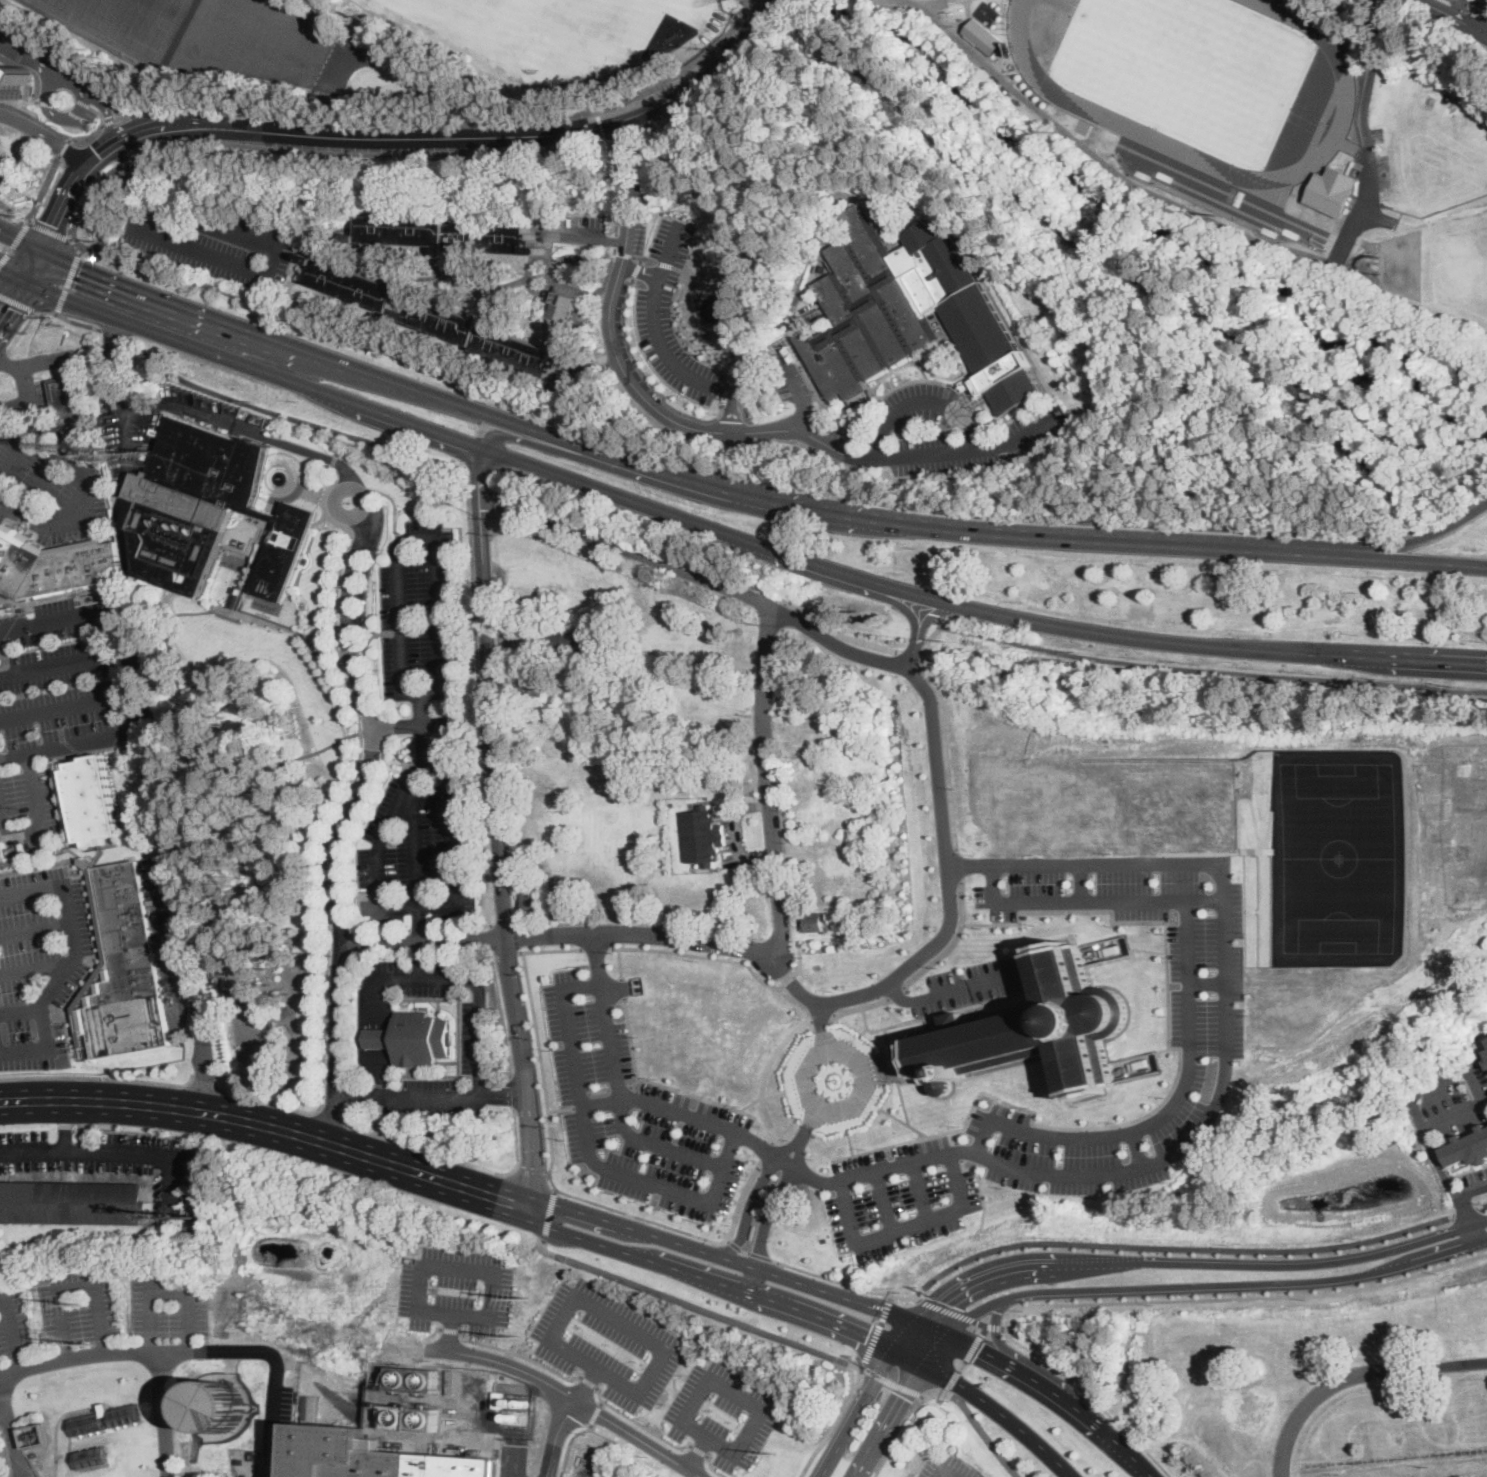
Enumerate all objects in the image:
building: (1240, 0)
road: (754, 3)
road: (935, 3)
road: (1063, 4)
road: (1435, 4)
road: (1456, 5)
road: (839, 13)
road: (1477, 13)
road: (1452, 17)
road: (1481, 18)
track: (1307, 21)
road: (1482, 28)
road: (949, 31)
park: (206, 34)
building: (983, 36)
park: (563, 37)
parking lot: (9, 38)
road: (836, 47)
park: (1189, 70)
road: (48, 71)
road: (413, 75)
building: (618, 78)
parking lot: (92, 80)
road: (725, 82)
building: (13, 83)
road: (766, 89)
road: (1367, 94)
road: (27, 100)
road: (54, 100)
road: (48, 103)
road: (93, 109)
road: (131, 113)
road: (78, 116)
road: (57, 117)
road: (121, 117)
road: (462, 117)
road: (36, 118)
parking lot: (88, 118)
road: (108, 124)
road: (601, 124)
track: (1121, 124)
road: (205, 128)
track: (1338, 129)
road: (535, 135)
road: (131, 136)
road: (45, 137)
road: (88, 137)
road: (617, 137)
road: (65, 148)
road: (366, 153)
road: (126, 159)
road: (139, 178)
road: (617, 186)
road: (43, 188)
building: (1331, 190)
road: (87, 195)
road: (65, 197)
building: (535, 219)
road: (1049, 220)
traffic signals: (53, 225)
road: (207, 226)
parking lot: (577, 228)
road: (50, 231)
building: (445, 233)
road: (826, 236)
road: (585, 237)
road: (615, 241)
road: (15, 243)
parking lot: (215, 245)
road: (80, 247)
road: (211, 254)
road: (31, 266)
road: (641, 270)
traffic signals: (79, 274)
road: (11, 276)
road: (67, 282)
road: (1076, 284)
road: (1004, 294)
road: (11, 298)
road: (19, 303)
traffic signals: (7, 304)
building: (564, 304)
building: (917, 311)
parking lot: (671, 314)
building: (435, 316)
road: (70, 319)
building: (809, 320)
road: (794, 326)
road: (656, 329)
road: (23, 331)
road: (113, 334)
road: (33, 336)
building: (793, 352)
road: (4, 358)
road: (52, 359)
road: (7, 363)
road: (770, 363)
road: (111, 365)
road: (253, 367)
road: (76, 370)
road: (82, 385)
parking lot: (792, 385)
road: (77, 386)
road: (1101, 390)
building: (565, 391)
building: (66, 395)
road: (84, 401)
road: (52, 403)
road: (922, 403)
road: (14, 404)
parking lot: (923, 405)
road: (48, 409)
road: (82, 411)
road: (289, 415)
road: (216, 418)
road: (707, 430)
road: (1383, 435)
road: (330, 440)
road: (1189, 440)
parking lot: (836, 442)
parking lot: (977, 446)
road: (1104, 451)
road: (738, 452)
road: (19, 455)
building: (145, 456)
road: (1355, 457)
road: (83, 464)
road: (477, 469)
road: (726, 469)
road: (657, 472)
road: (51, 474)
road: (938, 481)
parking lot: (49, 485)
road: (274, 486)
road: (308, 487)
road: (358, 490)
road: (702, 495)
road: (324, 496)
road: (276, 499)
road: (392, 504)
building: (209, 510)
road: (1283, 516)
road: (1452, 517)
helipad: (293, 539)
road: (1423, 539)
road: (637, 553)
road: (693, 560)
road: (1419, 561)
building: (54, 564)
parking lot: (365, 567)
road: (841, 570)
road: (473, 585)
road: (887, 596)
building: (243, 597)
building: (4, 609)
road: (785, 612)
parking lot: (421, 613)
road: (931, 616)
road: (53, 619)
building: (575, 640)
road: (369, 641)
road: (439, 649)
parking lot: (63, 650)
road: (911, 652)
road: (912, 652)
road: (1347, 655)
road: (60, 663)
road: (1194, 668)
road: (781, 670)
building: (558, 684)
building: (530, 686)
road: (65, 707)
road: (481, 720)
road: (433, 726)
parking lot: (58, 746)
road: (71, 747)
road: (947, 750)
road: (767, 779)
building: (90, 801)
road: (497, 808)
road: (336, 819)
park: (249, 822)
road: (347, 822)
road: (41, 824)
road: (484, 830)
building: (703, 837)
road: (946, 846)
park: (1343, 849)
building: (539, 856)
road: (171, 858)
road: (959, 865)
road: (1076, 879)
building: (894, 893)
road: (1086, 896)
building: (532, 903)
road: (429, 907)
road: (1065, 910)
building: (813, 923)
road: (35, 929)
road: (562, 933)
road: (492, 940)
road: (951, 944)
road: (596, 948)
road: (550, 950)
road: (504, 952)
road: (721, 958)
road: (71, 961)
road: (420, 961)
parking lot: (38, 963)
road: (620, 963)
road: (35, 968)
building: (122, 970)
road: (416, 979)
road: (1202, 981)
road: (951, 989)
road: (895, 992)
road: (860, 1006)
road: (20, 1012)
road: (502, 1014)
road: (820, 1016)
parking lot: (1207, 1026)
road: (822, 1027)
building: (1038, 1031)
building: (414, 1040)
road: (763, 1074)
road: (866, 1075)
road: (96, 1076)
road: (616, 1081)
road: (205, 1082)
road: (633, 1082)
road: (656, 1083)
road: (1477, 1087)
road: (617, 1089)
road: (597, 1092)
road: (513, 1093)
road: (761, 1097)
road: (431, 1098)
road: (579, 1100)
road: (264, 1101)
road: (1163, 1108)
road: (559, 1109)
parking lot: (636, 1113)
road: (327, 1117)
road: (267, 1125)
road: (65, 1126)
road: (87, 1127)
road: (1075, 1127)
road: (801, 1135)
road: (516, 1139)
road: (1134, 1147)
road: (428, 1150)
road: (584, 1150)
building: (1467, 1150)
road: (765, 1152)
parking lot: (77, 1153)
road: (111, 1153)
road: (277, 1155)
road: (1151, 1158)
road: (551, 1159)
road: (1440, 1167)
parking lot: (176, 1168)
road: (515, 1169)
road: (531, 1171)
road: (547, 1174)
road: (530, 1186)
road: (920, 1189)
parking lot: (901, 1197)
road: (739, 1199)
road: (884, 1199)
building: (74, 1203)
road: (744, 1204)
road: (1482, 1206)
road: (576, 1209)
road: (1466, 1211)
road: (550, 1213)
building: (203, 1214)
road: (760, 1226)
road: (905, 1226)
road: (584, 1239)
road: (727, 1240)
road: (689, 1243)
road: (733, 1244)
road: (1179, 1245)
road: (744, 1250)
road: (760, 1255)
road: (1312, 1263)
road: (1017, 1268)
road: (461, 1269)
road: (822, 1275)
road: (697, 1276)
road: (1254, 1283)
road: (76, 1286)
road: (161, 1286)
parking lot: (456, 1289)
road: (835, 1292)
road: (882, 1295)
road: (1243, 1296)
road: (904, 1297)
power tower: (528, 1299)
traffic signals: (943, 1300)
parking lot: (78, 1305)
power tower: (88, 1305)
road: (691, 1305)
parking lot: (166, 1307)
road: (977, 1309)
road: (951, 1310)
road: (819, 1316)
parking lot: (14, 1323)
road: (617, 1324)
road: (995, 1325)
road: (930, 1328)
road: (450, 1330)
road: (876, 1330)
road: (436, 1331)
road: (982, 1331)
road: (997, 1331)
road: (448, 1332)
road: (13, 1333)
road: (906, 1334)
traffic signals: (868, 1335)
power tower: (517, 1337)
parking lot: (607, 1343)
power tower: (93, 1344)
road: (973, 1348)
road: (980, 1349)
traffic signals: (980, 1349)
road: (266, 1351)
road: (141, 1354)
road: (520, 1354)
road: (885, 1362)
road: (963, 1366)
road: (859, 1368)
road: (1401, 1369)
building: (416, 1378)
road: (954, 1380)
road: (586, 1382)
road: (588, 1382)
road: (892, 1382)
building: (342, 1383)
road: (948, 1391)
road: (949, 1393)
road: (736, 1394)
road: (932, 1394)
road: (570, 1395)
traffic signals: (903, 1395)
road: (1093, 1396)
building: (497, 1399)
road: (601, 1403)
road: (897, 1404)
road: (987, 1404)
building: (308, 1406)
building: (217, 1407)
building: (105, 1408)
building: (352, 1413)
parking lot: (723, 1413)
road: (3, 1414)
building: (126, 1414)
road: (595, 1414)
building: (399, 1417)
road: (838, 1417)
road: (1087, 1417)
building: (426, 1418)
building: (88, 1423)
road: (639, 1423)
road: (57, 1427)
road: (848, 1428)
road: (1290, 1428)
road: (10, 1431)
road: (1196, 1432)
road: (556, 1435)
road: (983, 1435)
road: (898, 1437)
road: (70, 1439)
road: (569, 1444)
road: (699, 1451)
road: (697, 1452)
power tower: (776, 1455)
building: (92, 1456)
building: (374, 1457)
road: (714, 1468)
parking lot: (946, 1468)
road: (944, 1471)

